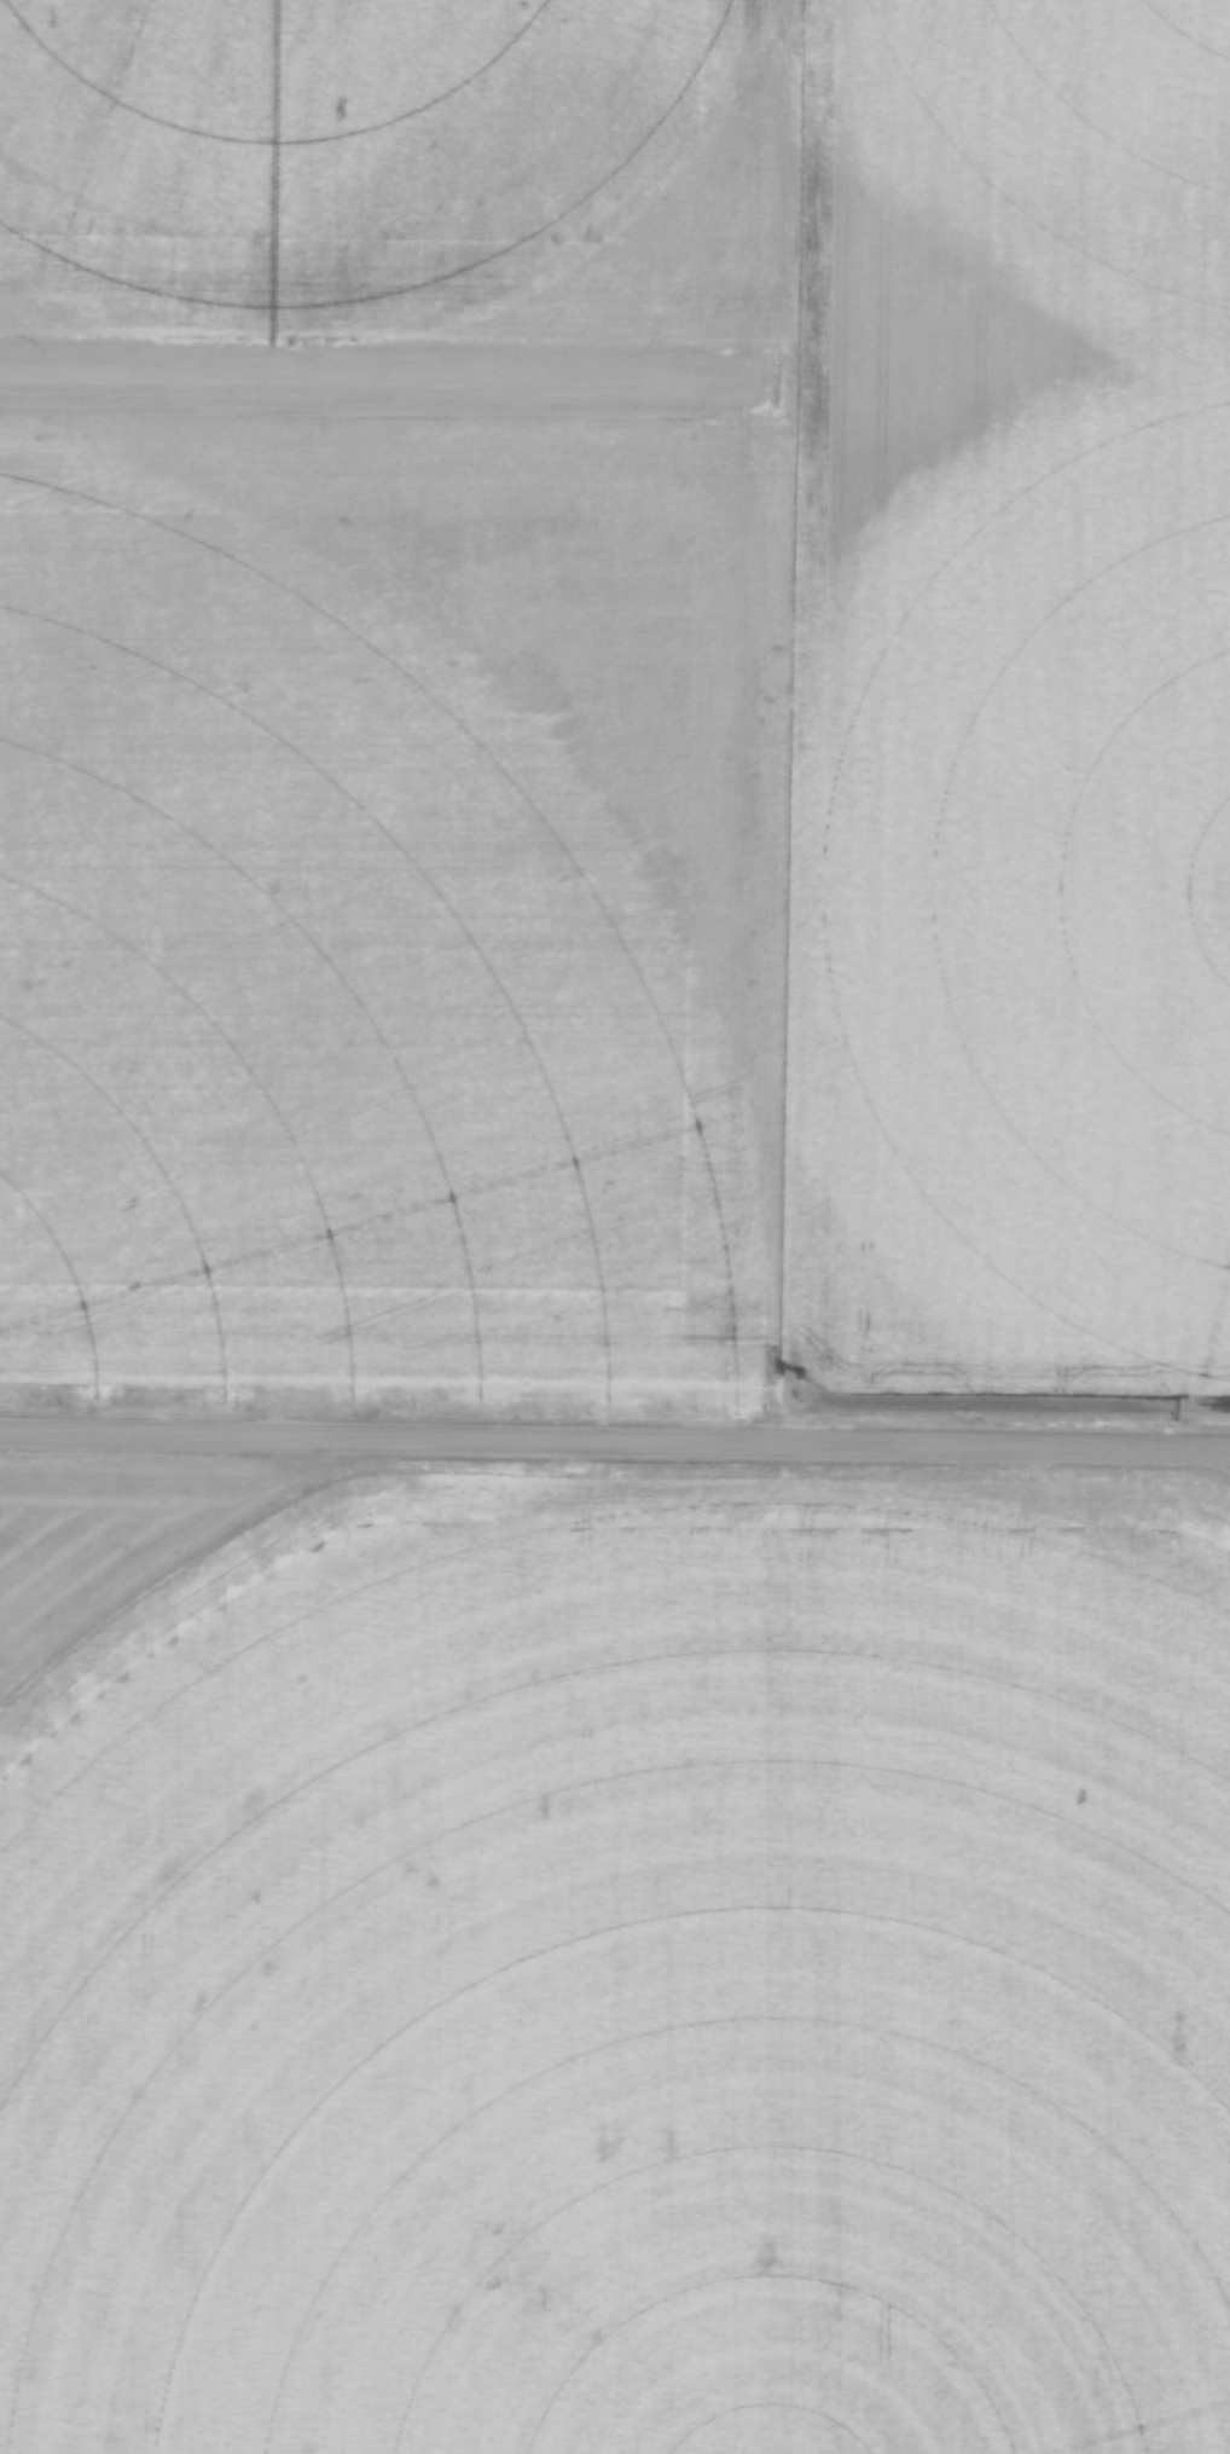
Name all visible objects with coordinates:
airport runway: (766, 383)
crop: (625, 704)
road: (614, 1446)
crop: (614, 1957)

